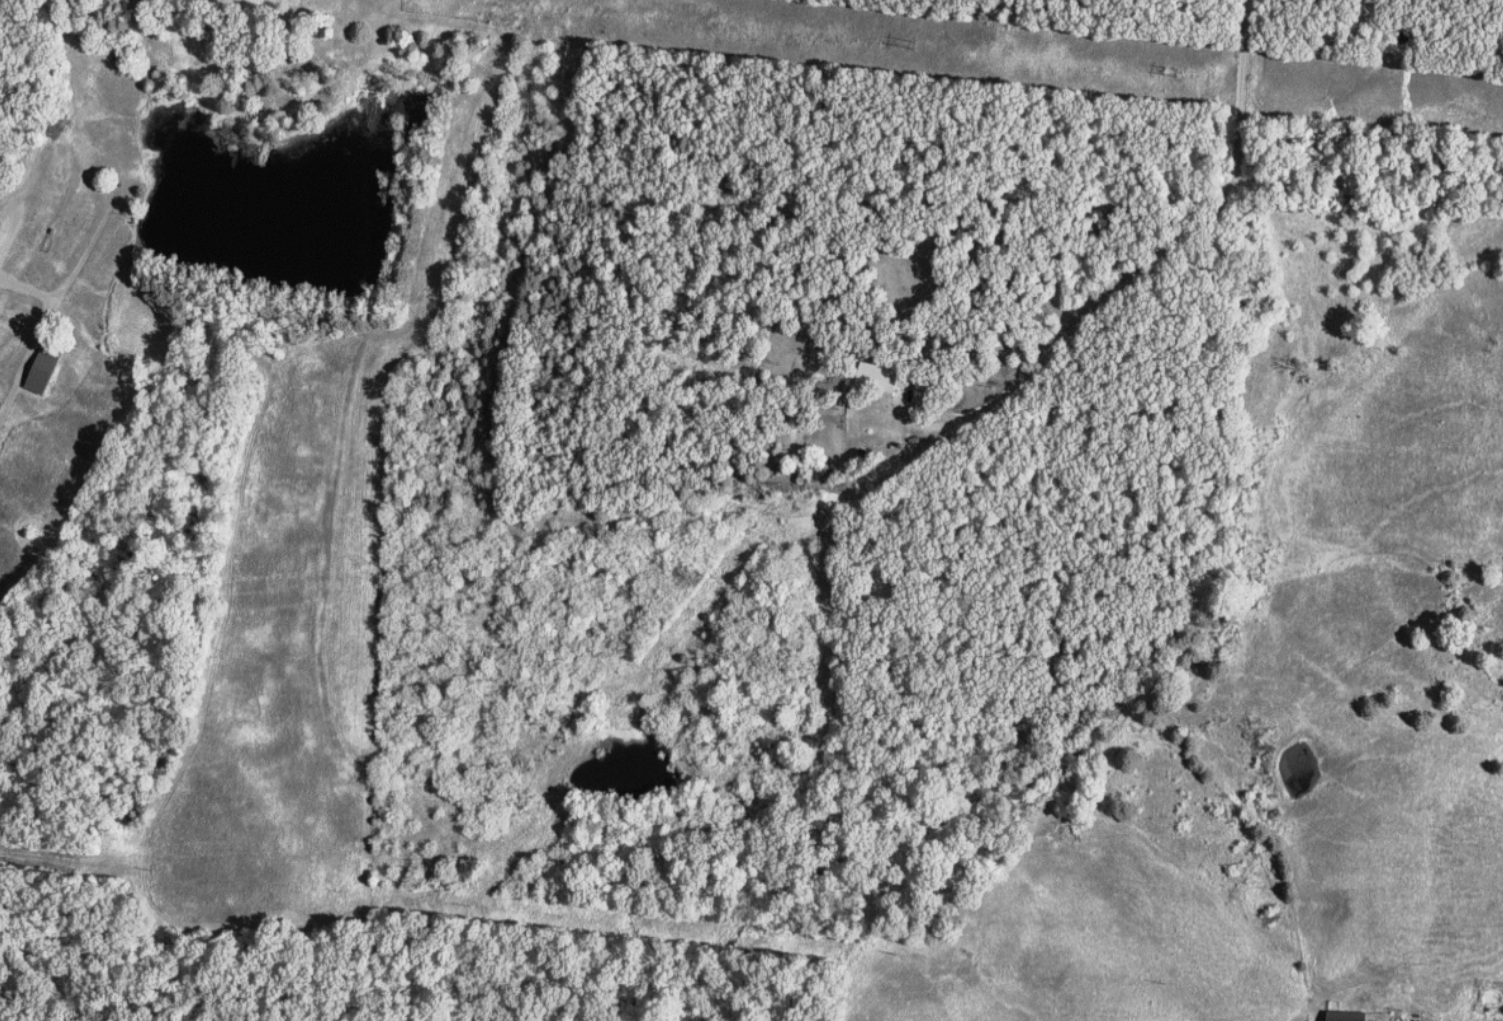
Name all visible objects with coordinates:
building: (3, 238)
road: (1168, 244)
road: (28, 288)
road: (53, 305)
building: (50, 371)
building: (885, 378)
building: (1342, 1016)

